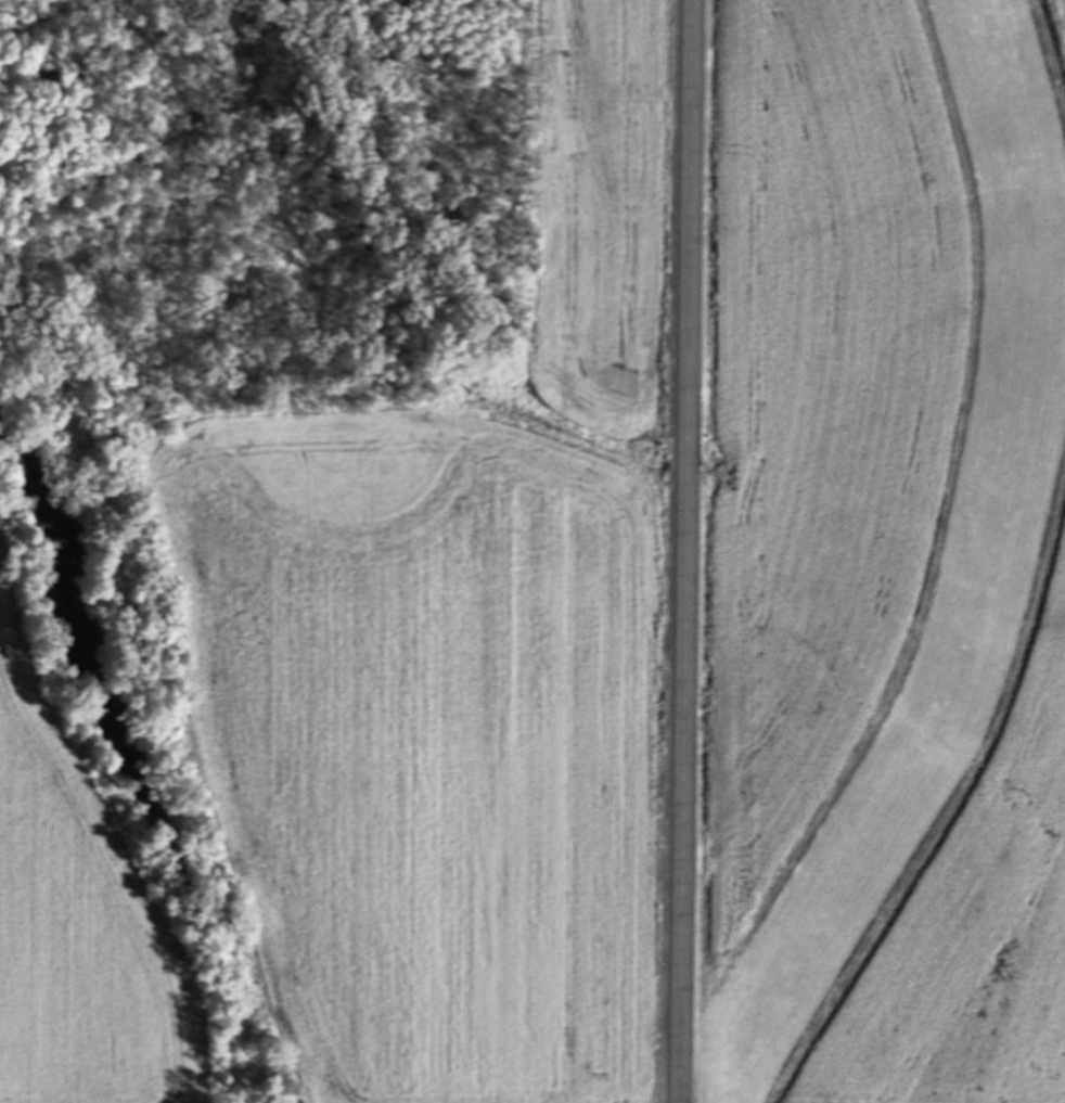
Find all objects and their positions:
road: (683, 551)

